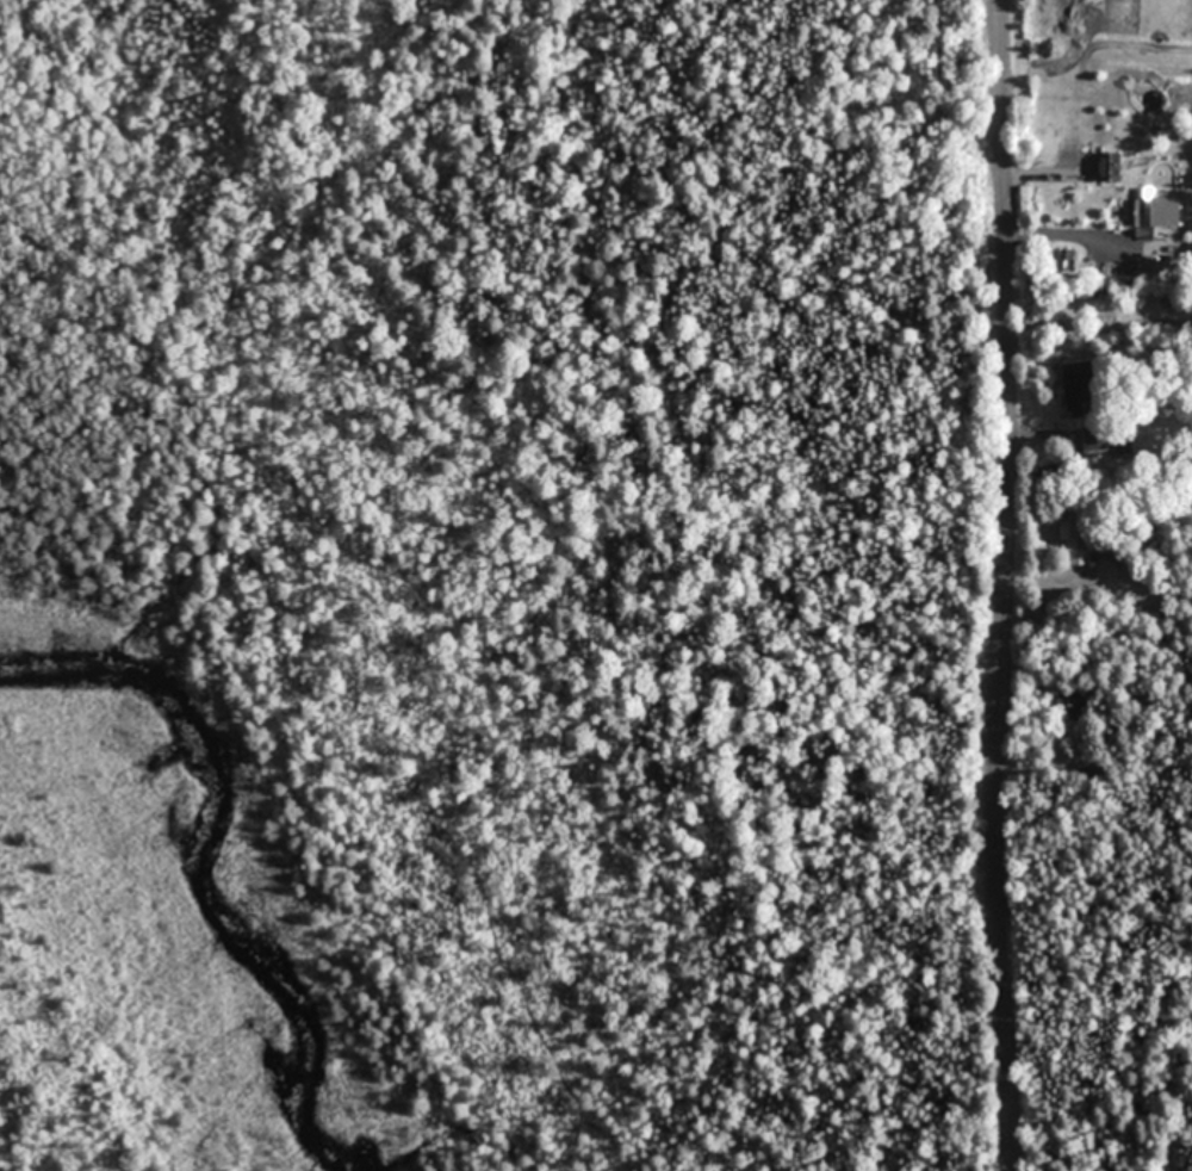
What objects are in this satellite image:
building: (1107, 166)
road: (1037, 171)
building: (1155, 210)
road: (1051, 240)
building: (1080, 389)
building: (1110, 438)
building: (1080, 545)
road: (1002, 585)
building: (1076, 706)
river: (204, 861)

